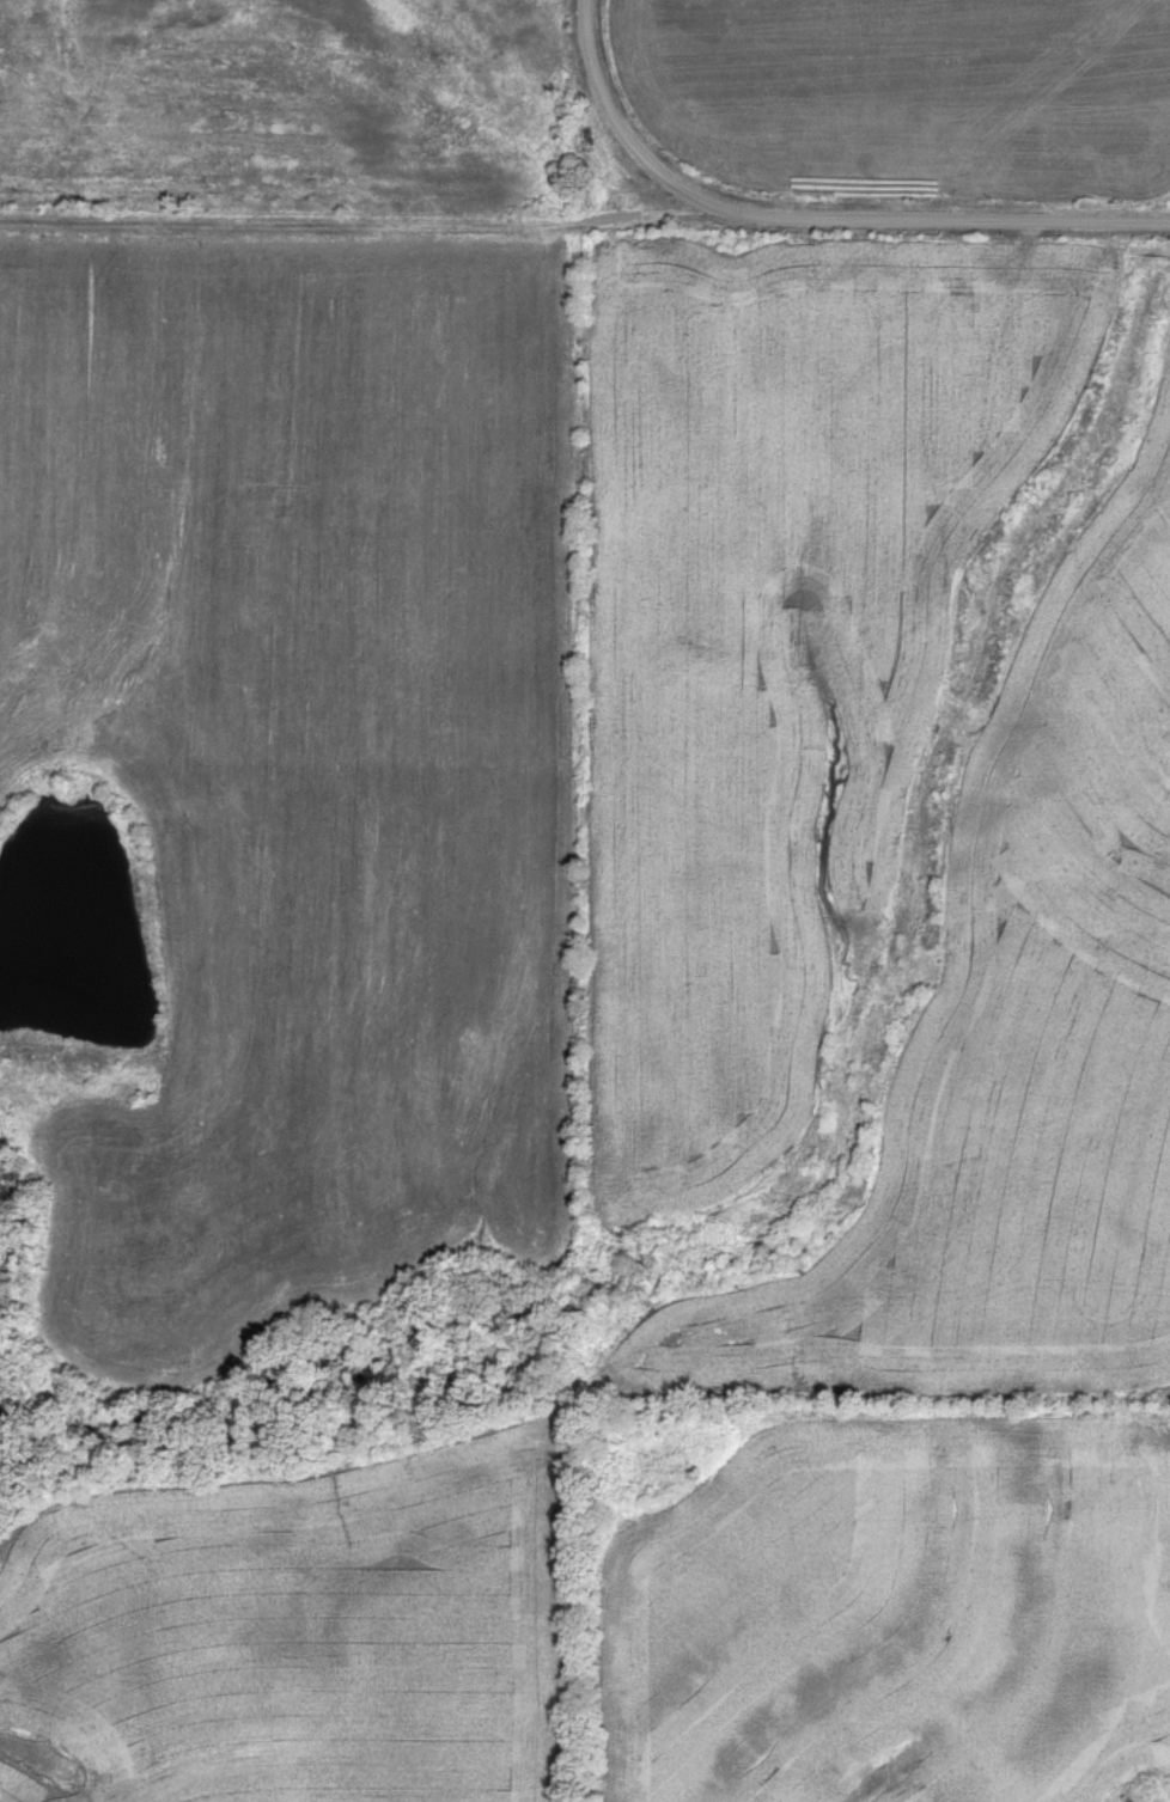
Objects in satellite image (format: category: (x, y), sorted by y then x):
road: (592, 71)
road: (883, 220)

